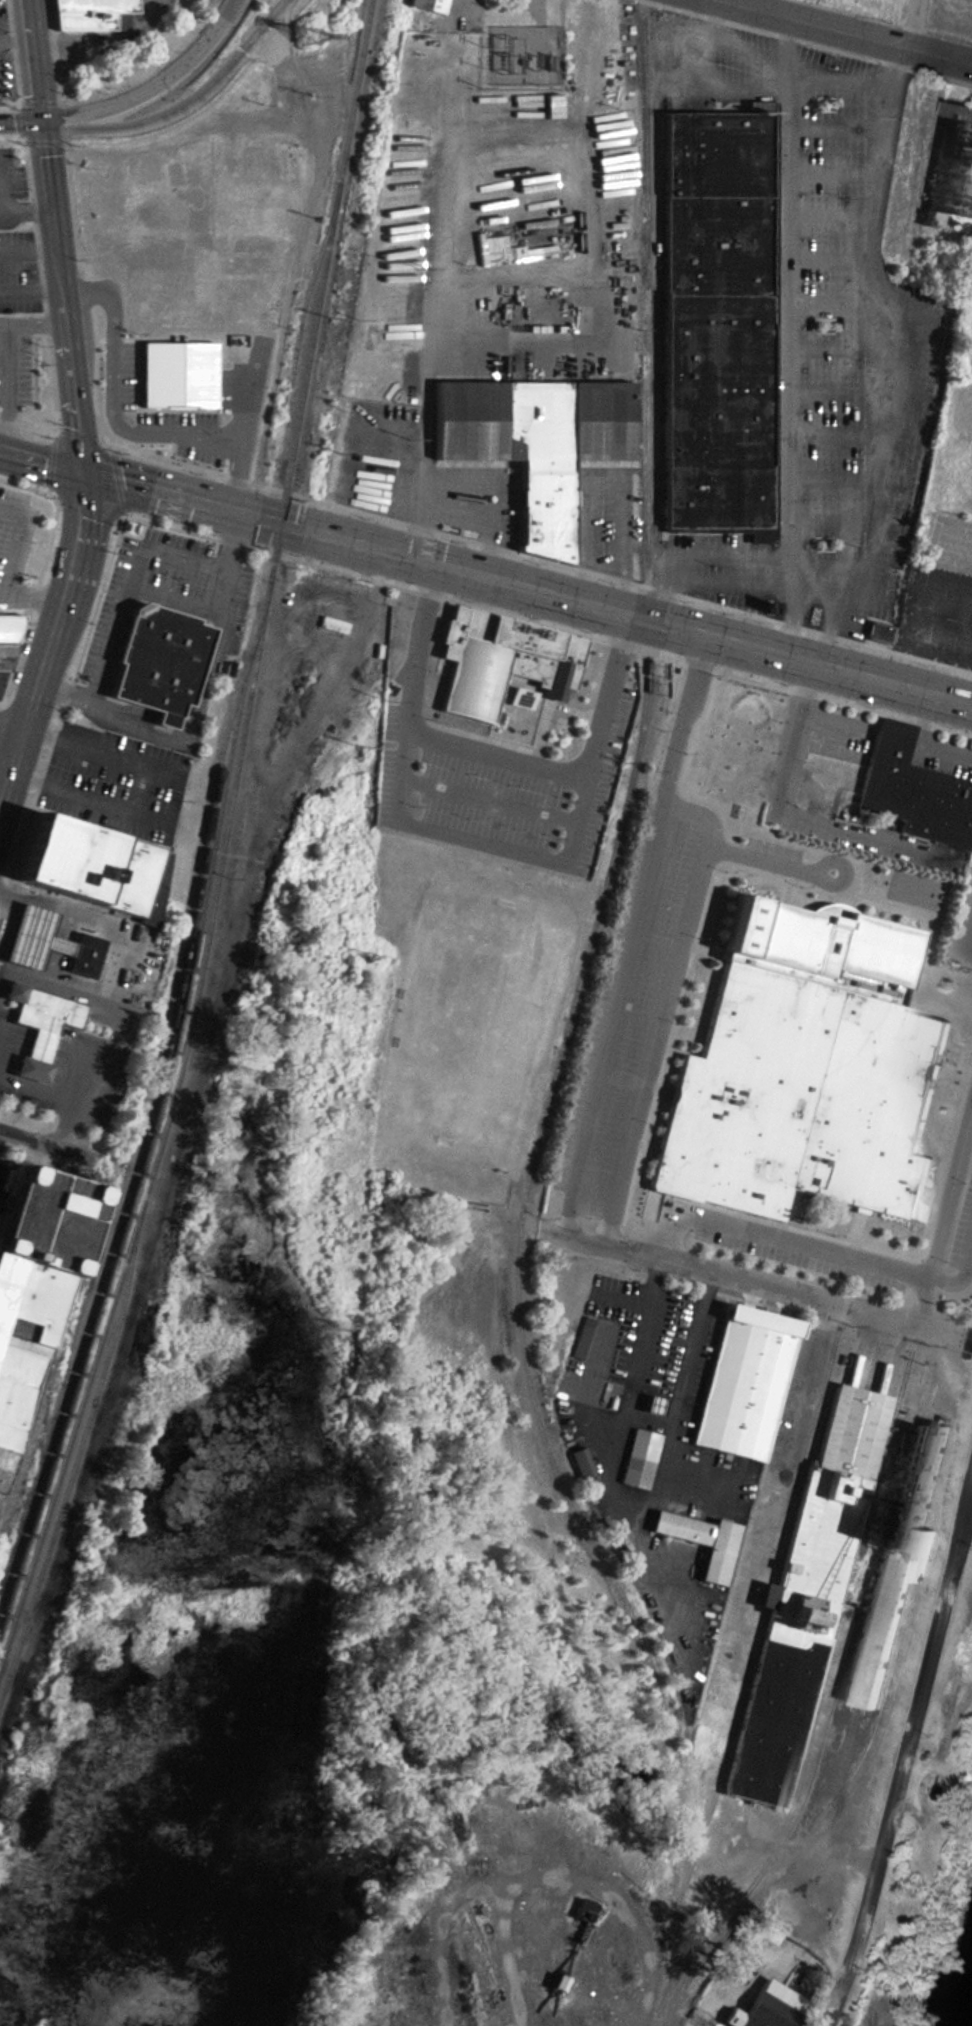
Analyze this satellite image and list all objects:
building: (428, 4)
building: (346, 12)
building: (89, 14)
road: (838, 32)
road: (740, 50)
power substation: (522, 53)
road: (35, 63)
road: (849, 80)
road: (153, 86)
road: (185, 106)
road: (21, 126)
building: (949, 170)
road: (64, 300)
railway: (303, 307)
building: (710, 321)
road: (794, 324)
road: (877, 344)
building: (967, 368)
building: (177, 373)
building: (531, 446)
road: (42, 462)
road: (12, 567)
road: (709, 581)
road: (815, 587)
road: (528, 590)
road: (3, 591)
road: (430, 597)
road: (789, 614)
road: (830, 620)
road: (623, 641)
road: (51, 645)
road: (807, 649)
building: (3, 656)
building: (498, 658)
building: (156, 661)
road: (514, 706)
road: (13, 726)
road: (525, 748)
road: (102, 755)
parking lot: (593, 771)
parking lot: (468, 778)
building: (911, 791)
road: (90, 802)
railway: (225, 843)
road: (768, 861)
building: (82, 866)
road: (638, 918)
building: (29, 937)
building: (79, 956)
parking lot: (635, 1007)
road: (661, 1012)
building: (35, 1025)
railway: (569, 1028)
park: (466, 1040)
building: (803, 1071)
railway: (151, 1107)
road: (45, 1145)
railway: (144, 1162)
road: (949, 1204)
parking lot: (953, 1214)
road: (565, 1217)
road: (610, 1226)
road: (788, 1241)
parking lot: (801, 1249)
building: (31, 1275)
road: (757, 1278)
road: (954, 1284)
building: (580, 1337)
building: (740, 1383)
building: (637, 1458)
building: (579, 1462)
railway: (72, 1474)
building: (696, 1541)
building: (834, 1589)
road: (905, 1733)
building: (740, 1947)
building: (552, 1984)
building: (766, 2008)

